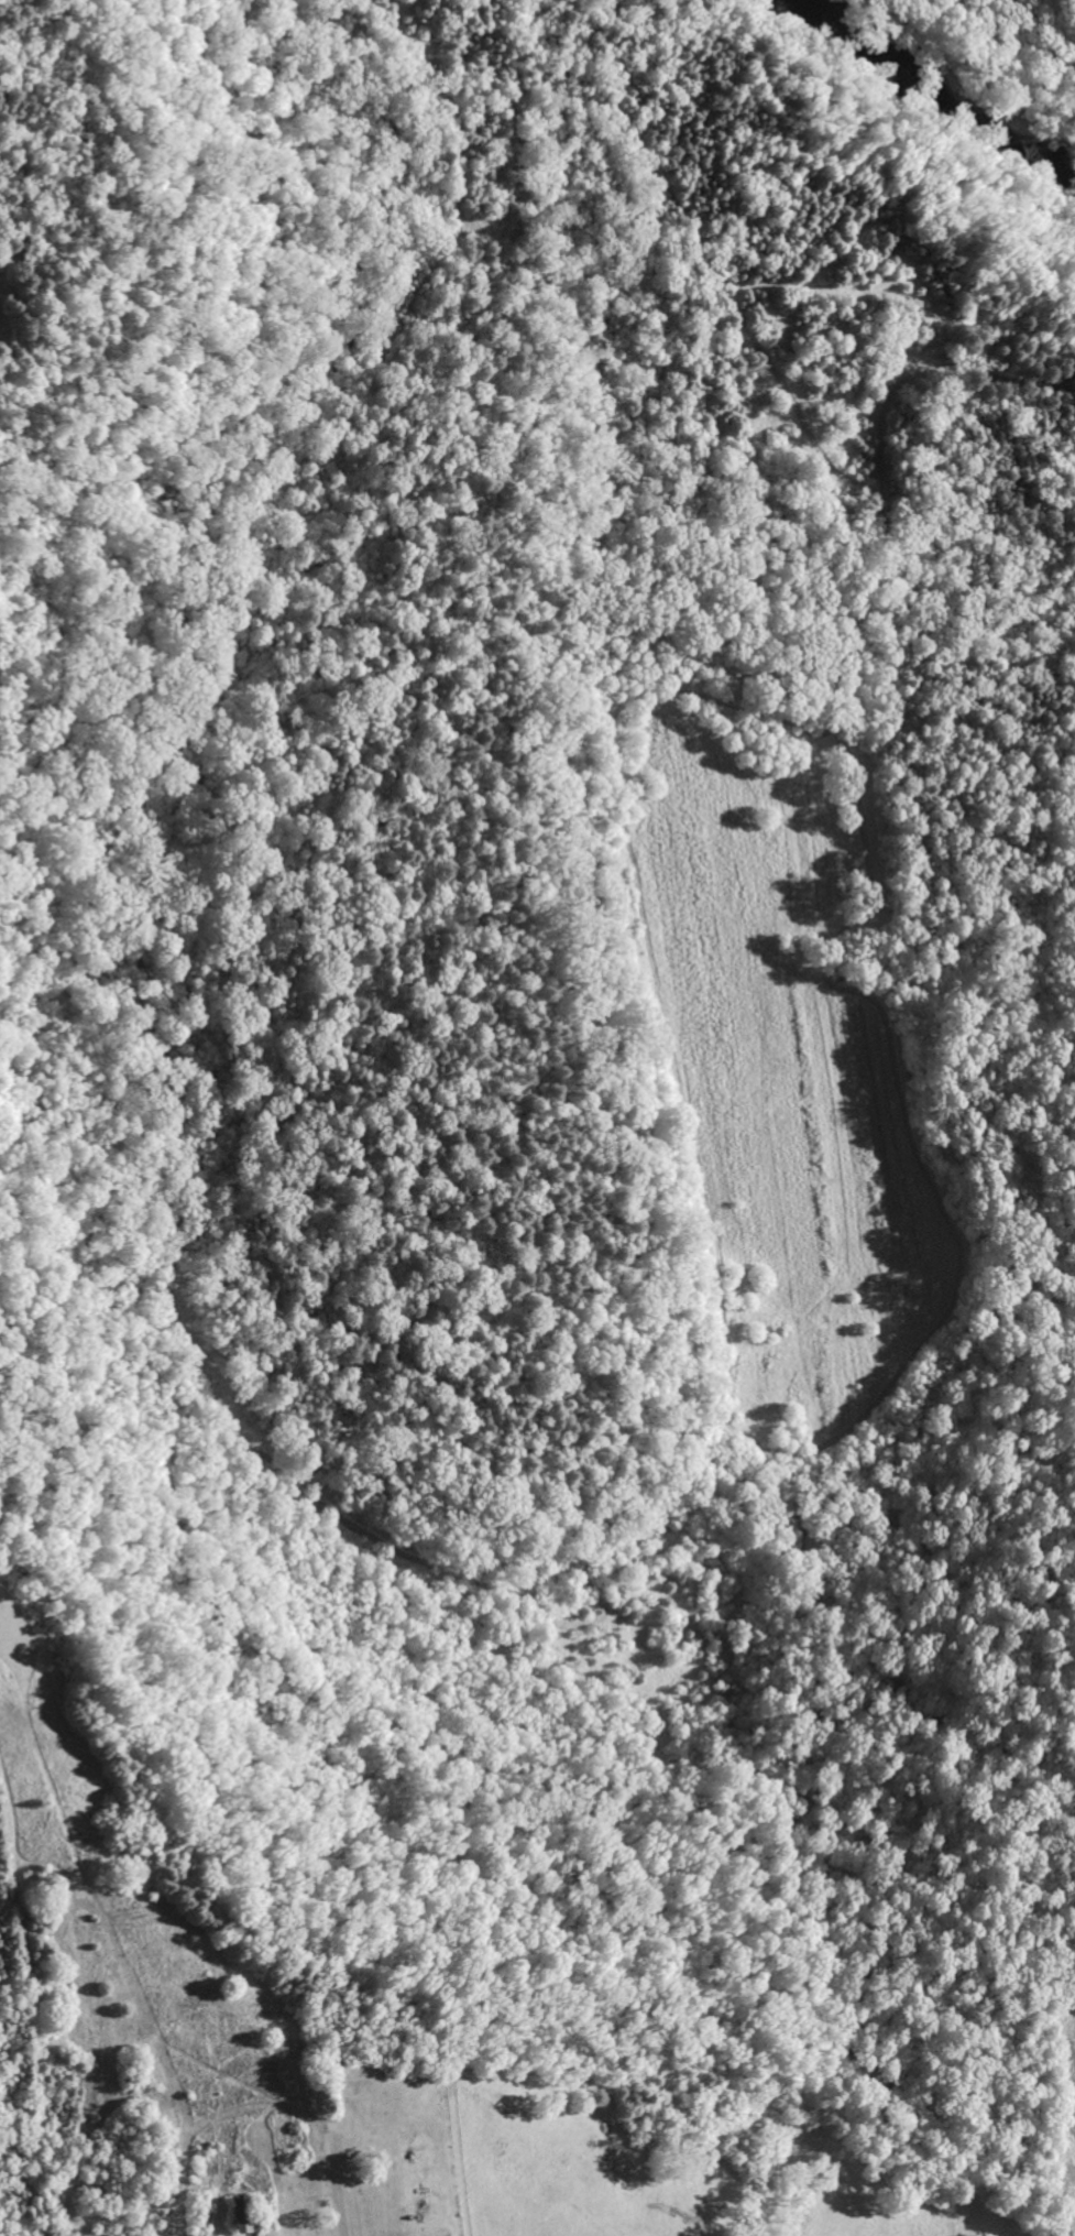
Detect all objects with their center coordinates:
river: (930, 92)

